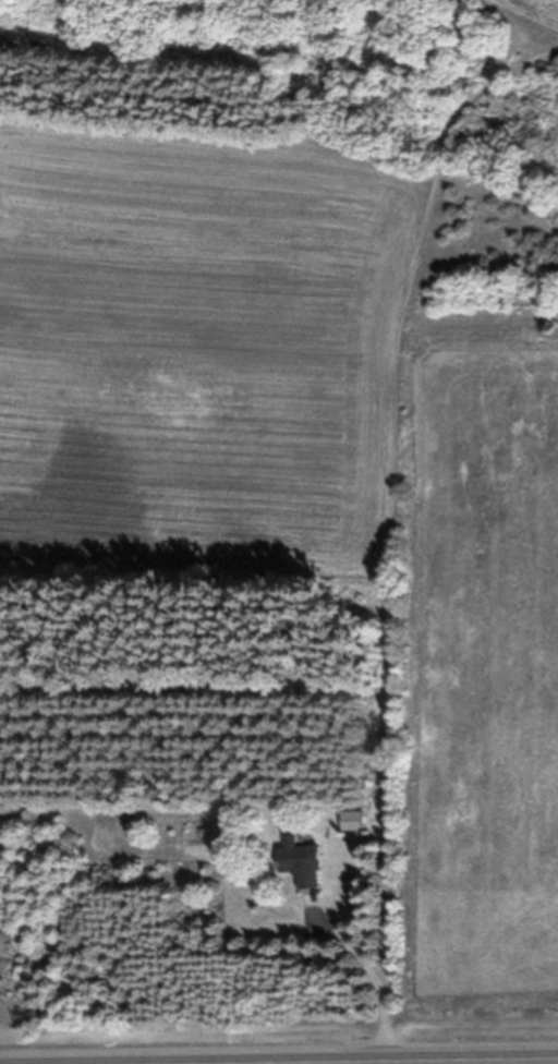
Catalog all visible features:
building: (344, 830)
building: (293, 868)
road: (368, 970)

